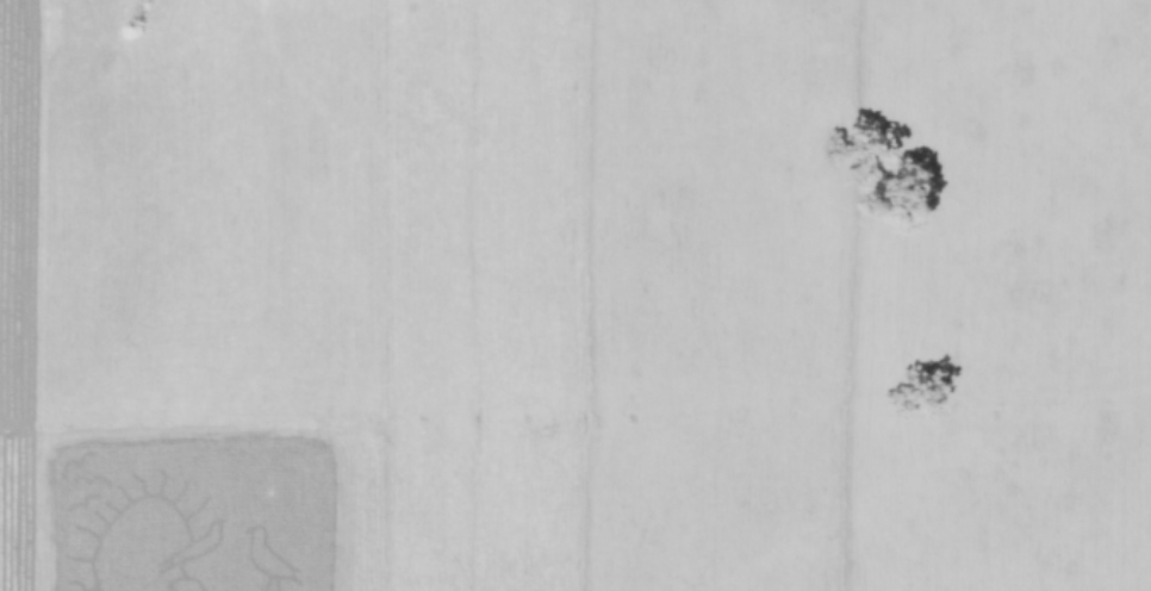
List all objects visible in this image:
crop: (575, 295)

